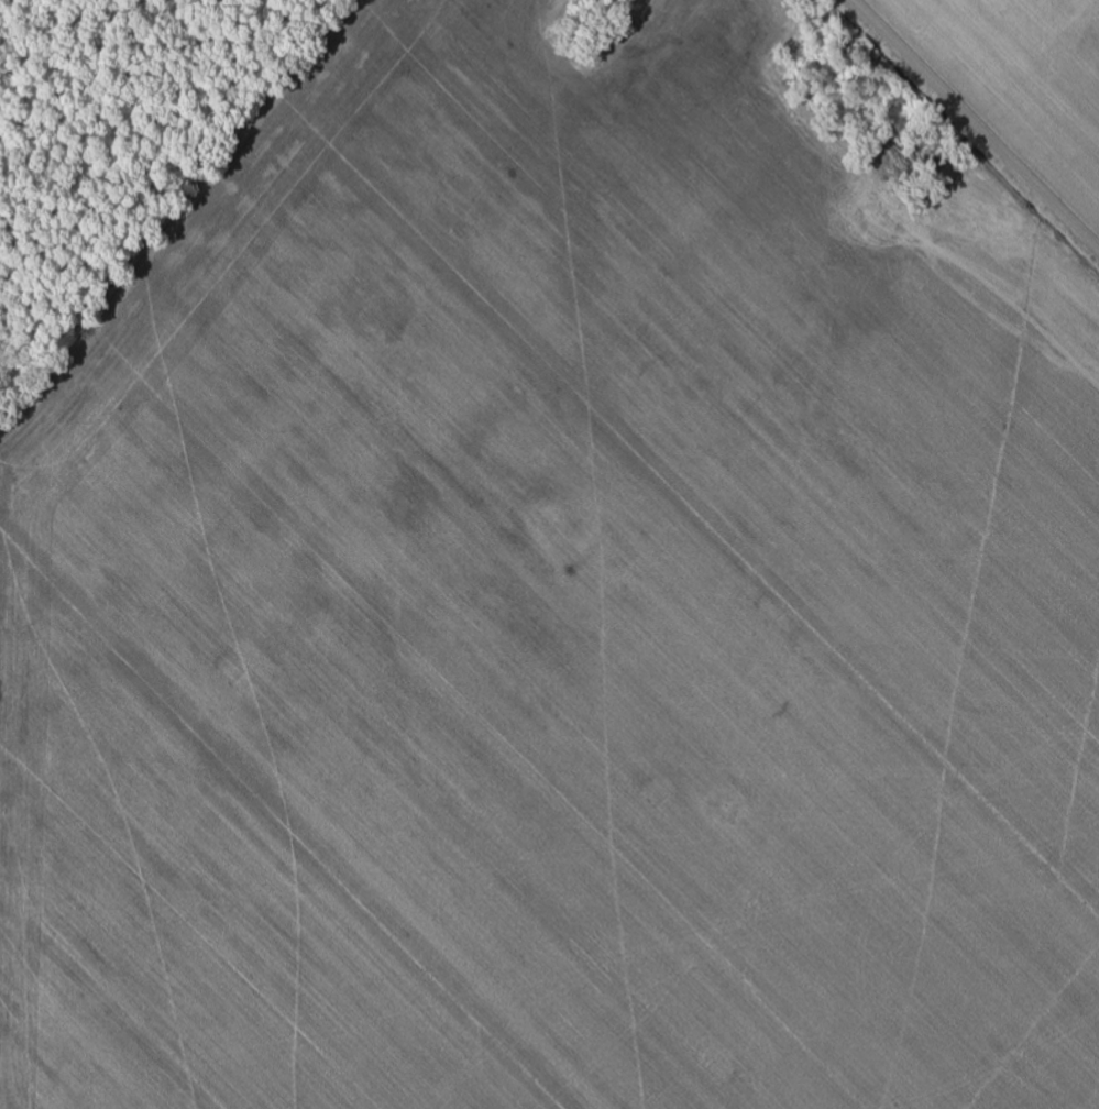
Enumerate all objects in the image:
road: (977, 123)

